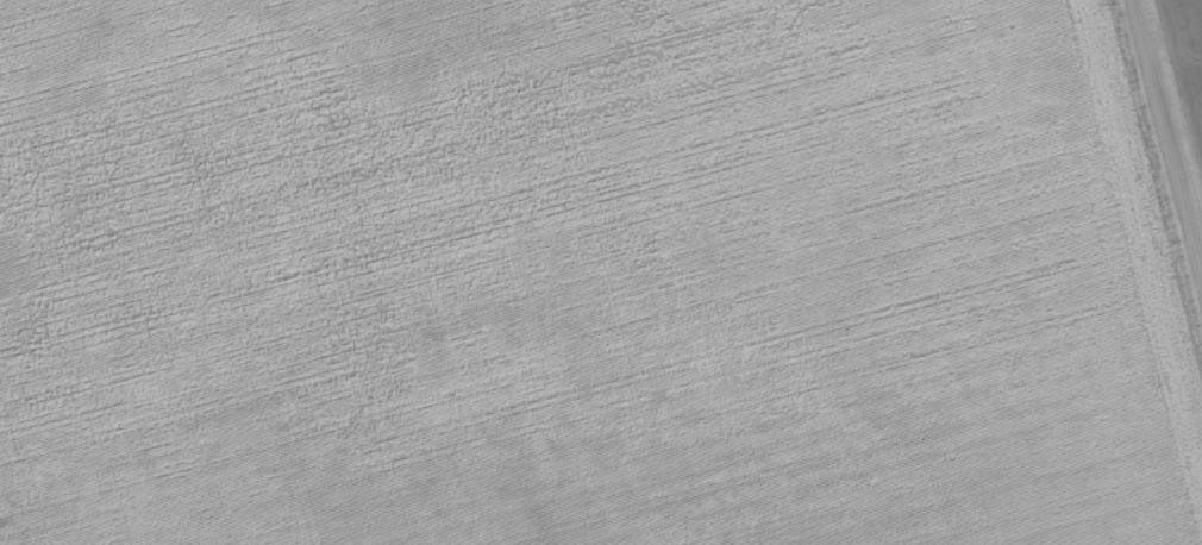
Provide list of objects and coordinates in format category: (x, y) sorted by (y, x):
road: (1176, 98)

